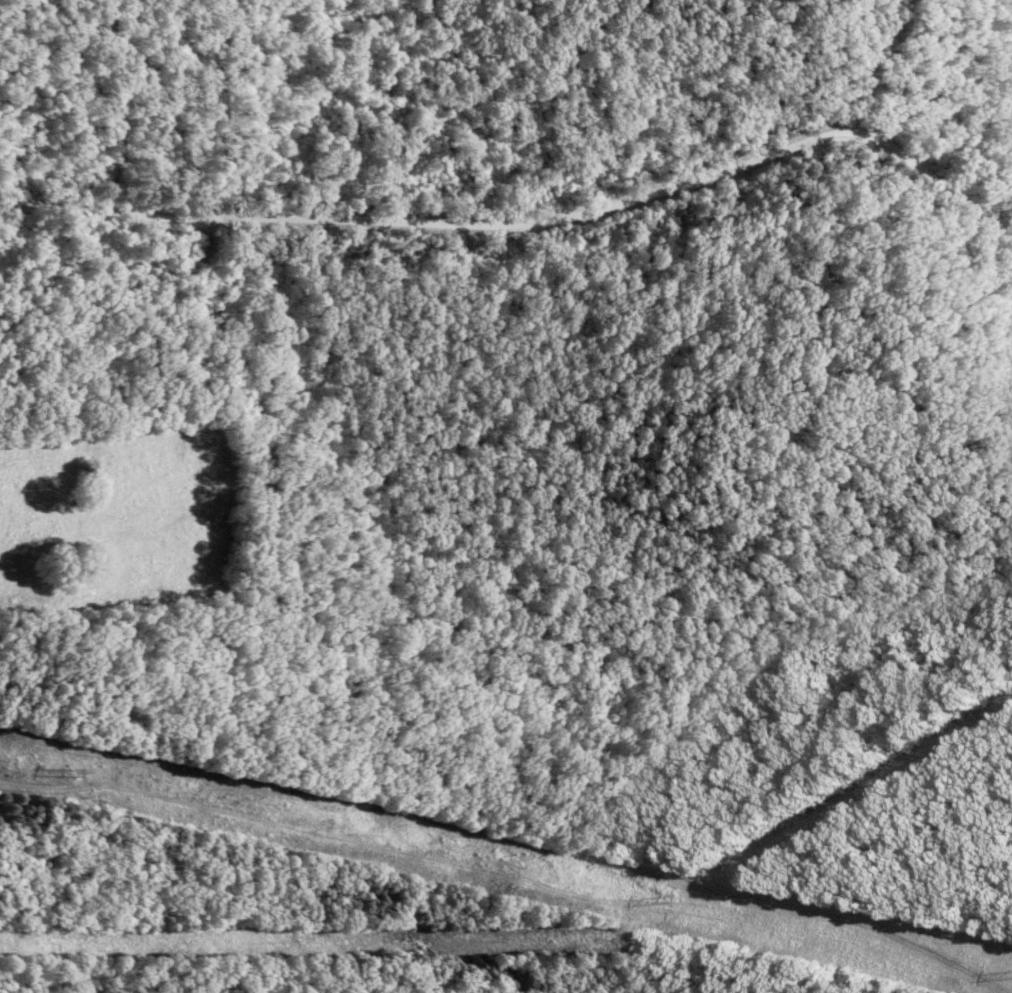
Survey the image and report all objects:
road: (530, 218)
road: (525, 706)

